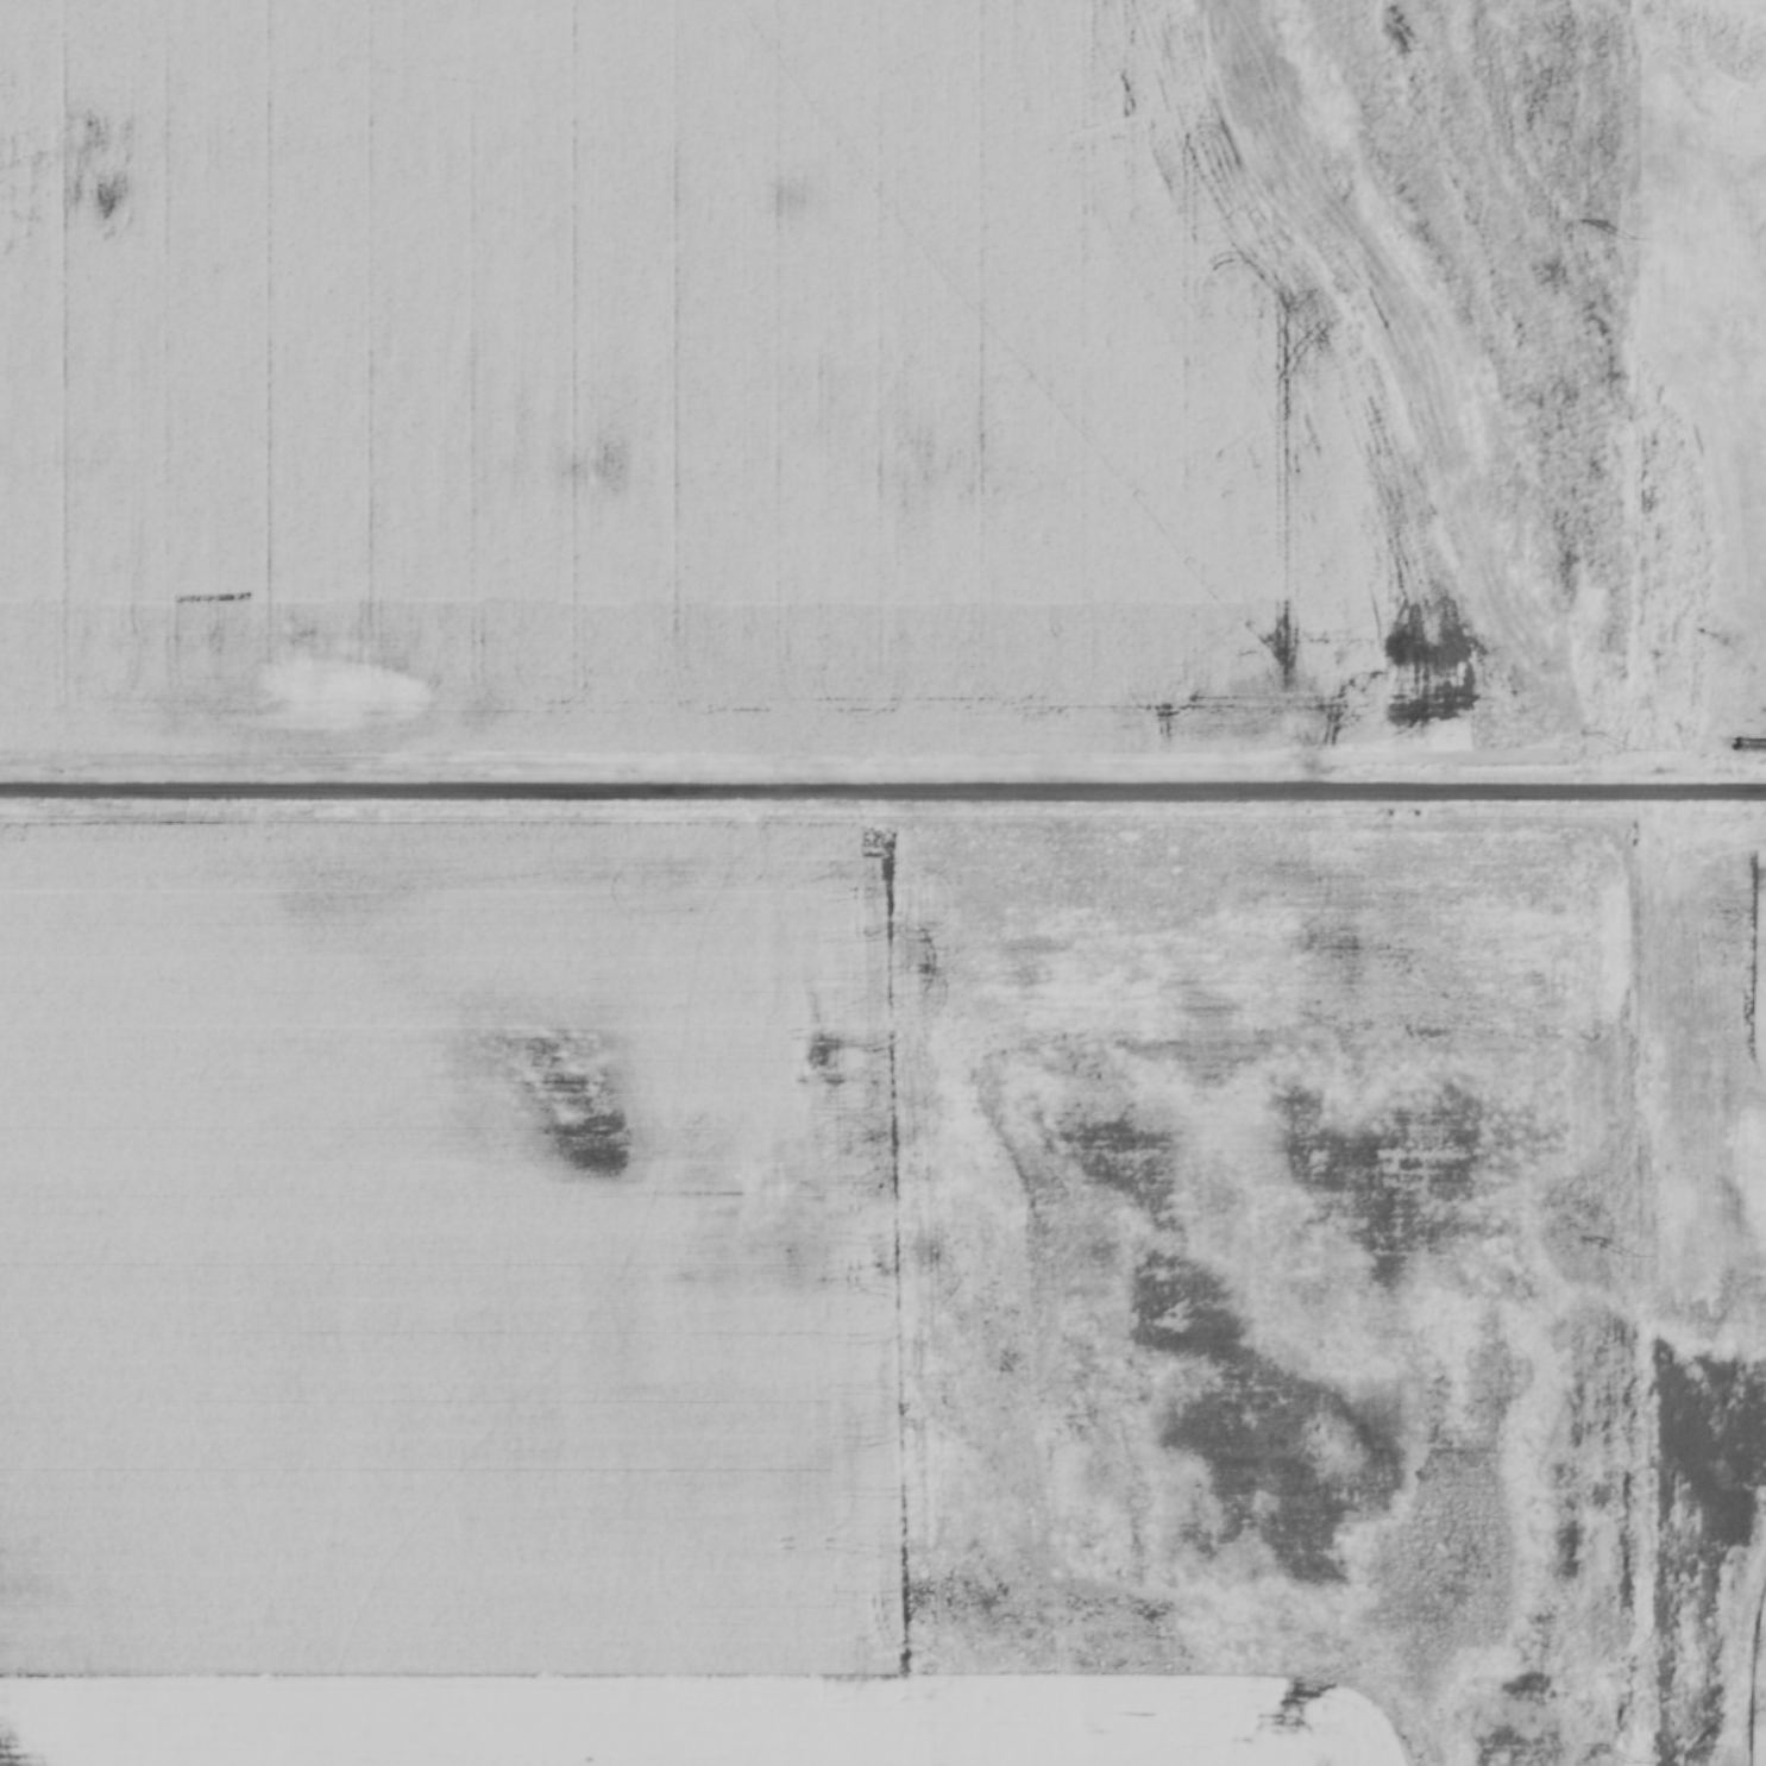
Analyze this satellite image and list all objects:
power tower: (1629, 238)
power tower: (1628, 750)
road: (882, 793)
power tower: (1630, 1256)
power tower: (1633, 1761)

